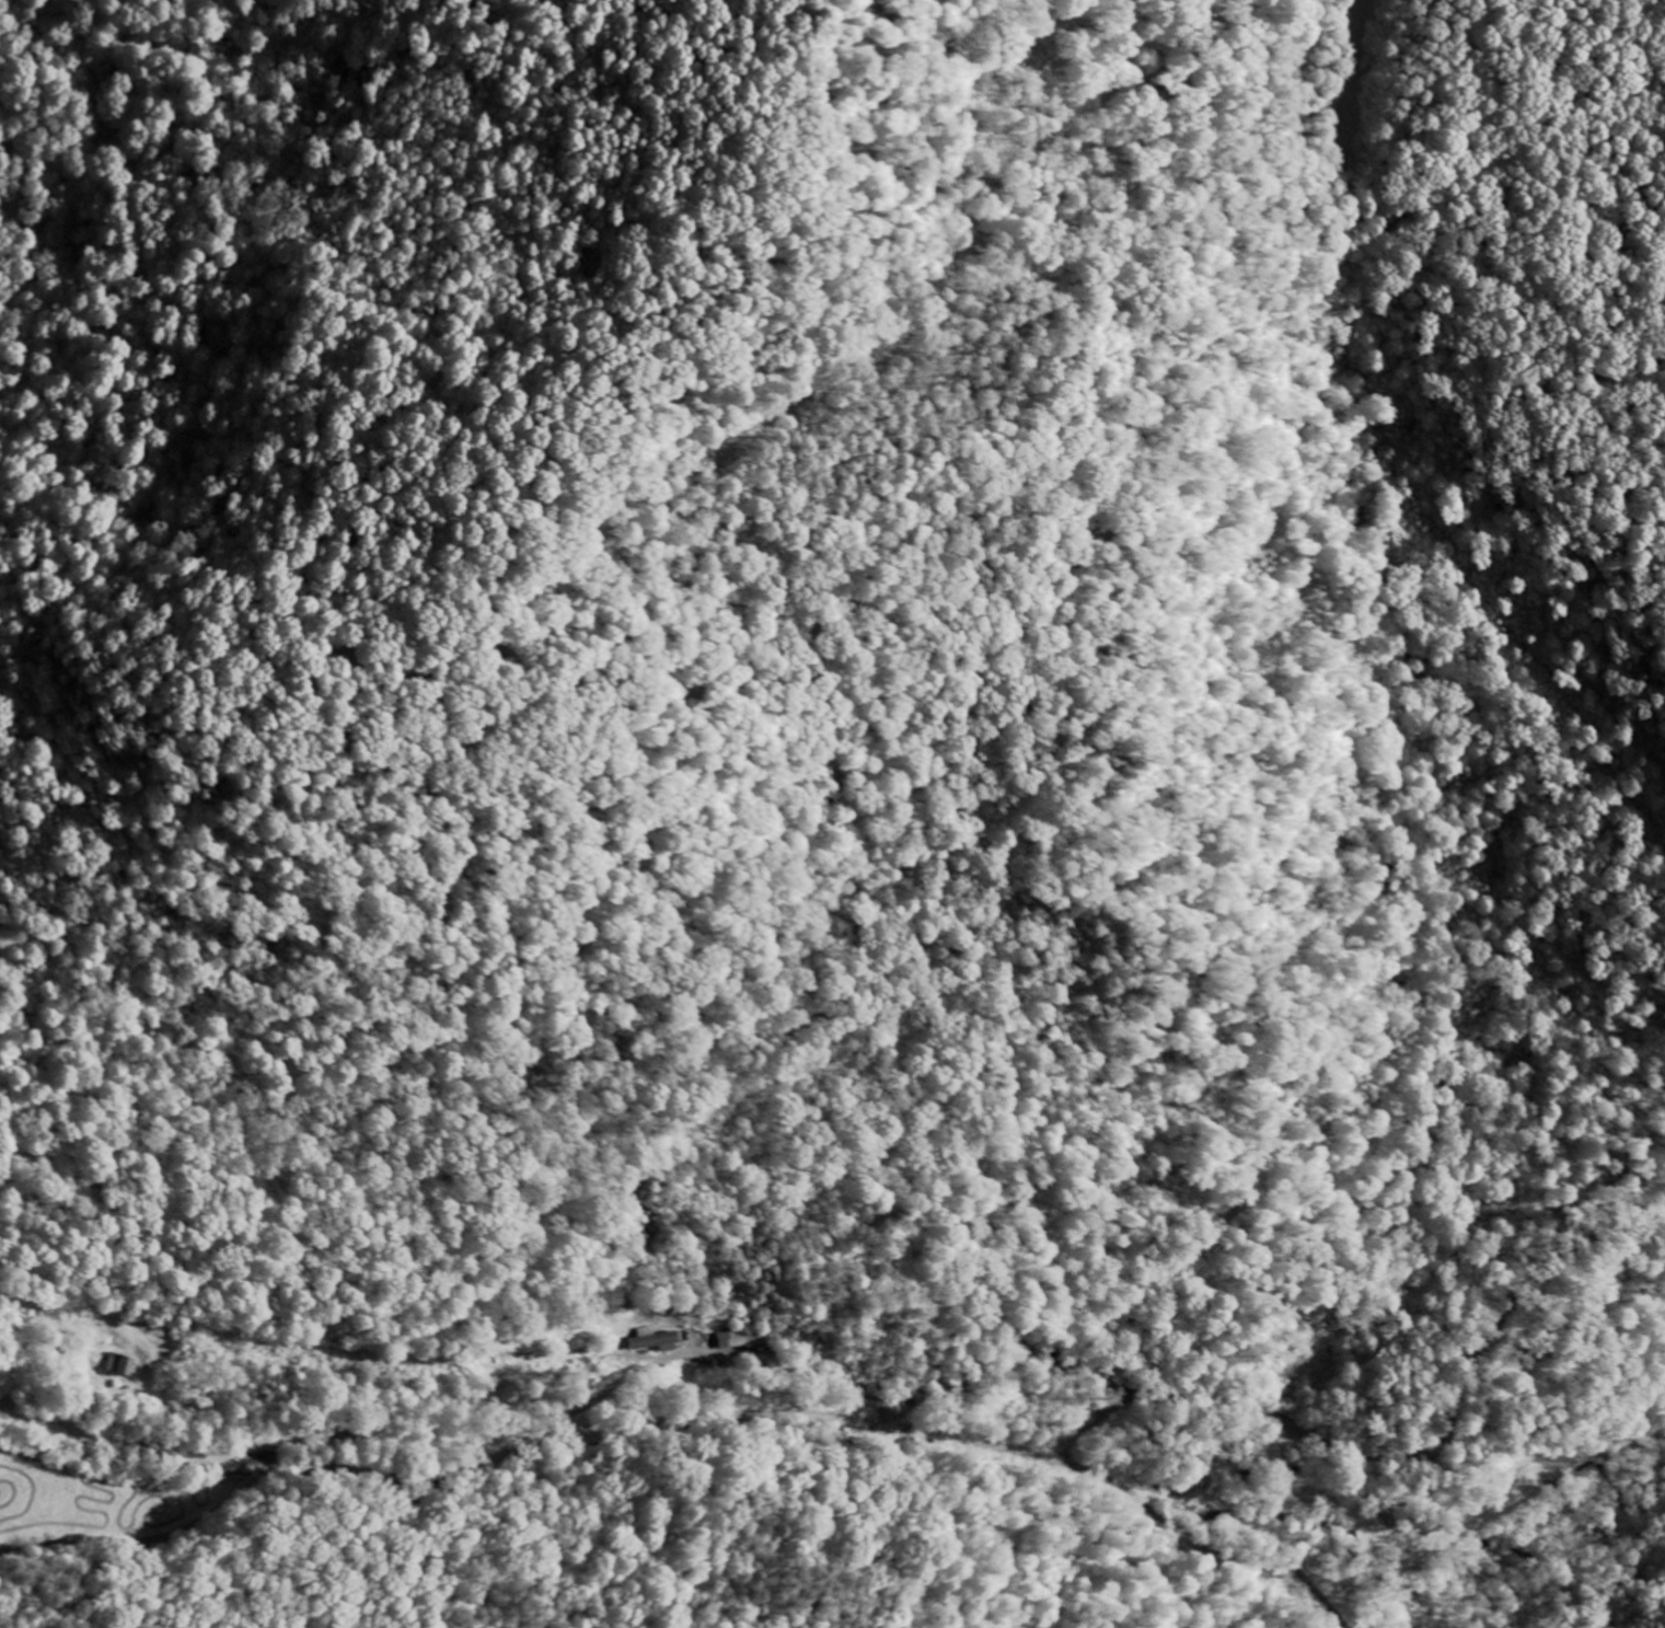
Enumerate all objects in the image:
building: (657, 1341)
building: (726, 1342)
building: (119, 1365)
road: (897, 1433)
road: (1152, 1519)

